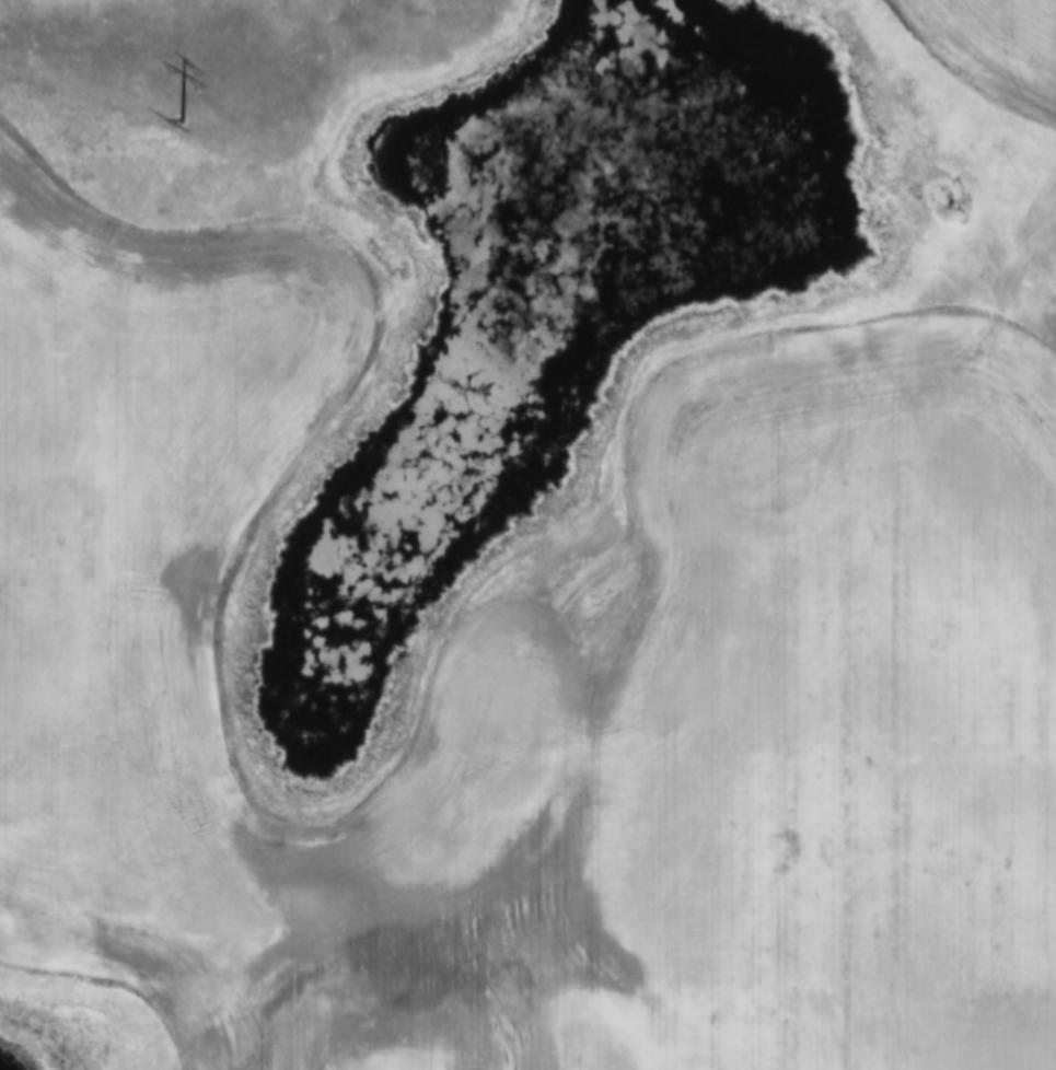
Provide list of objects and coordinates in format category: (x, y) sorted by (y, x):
power tower: (171, 102)

